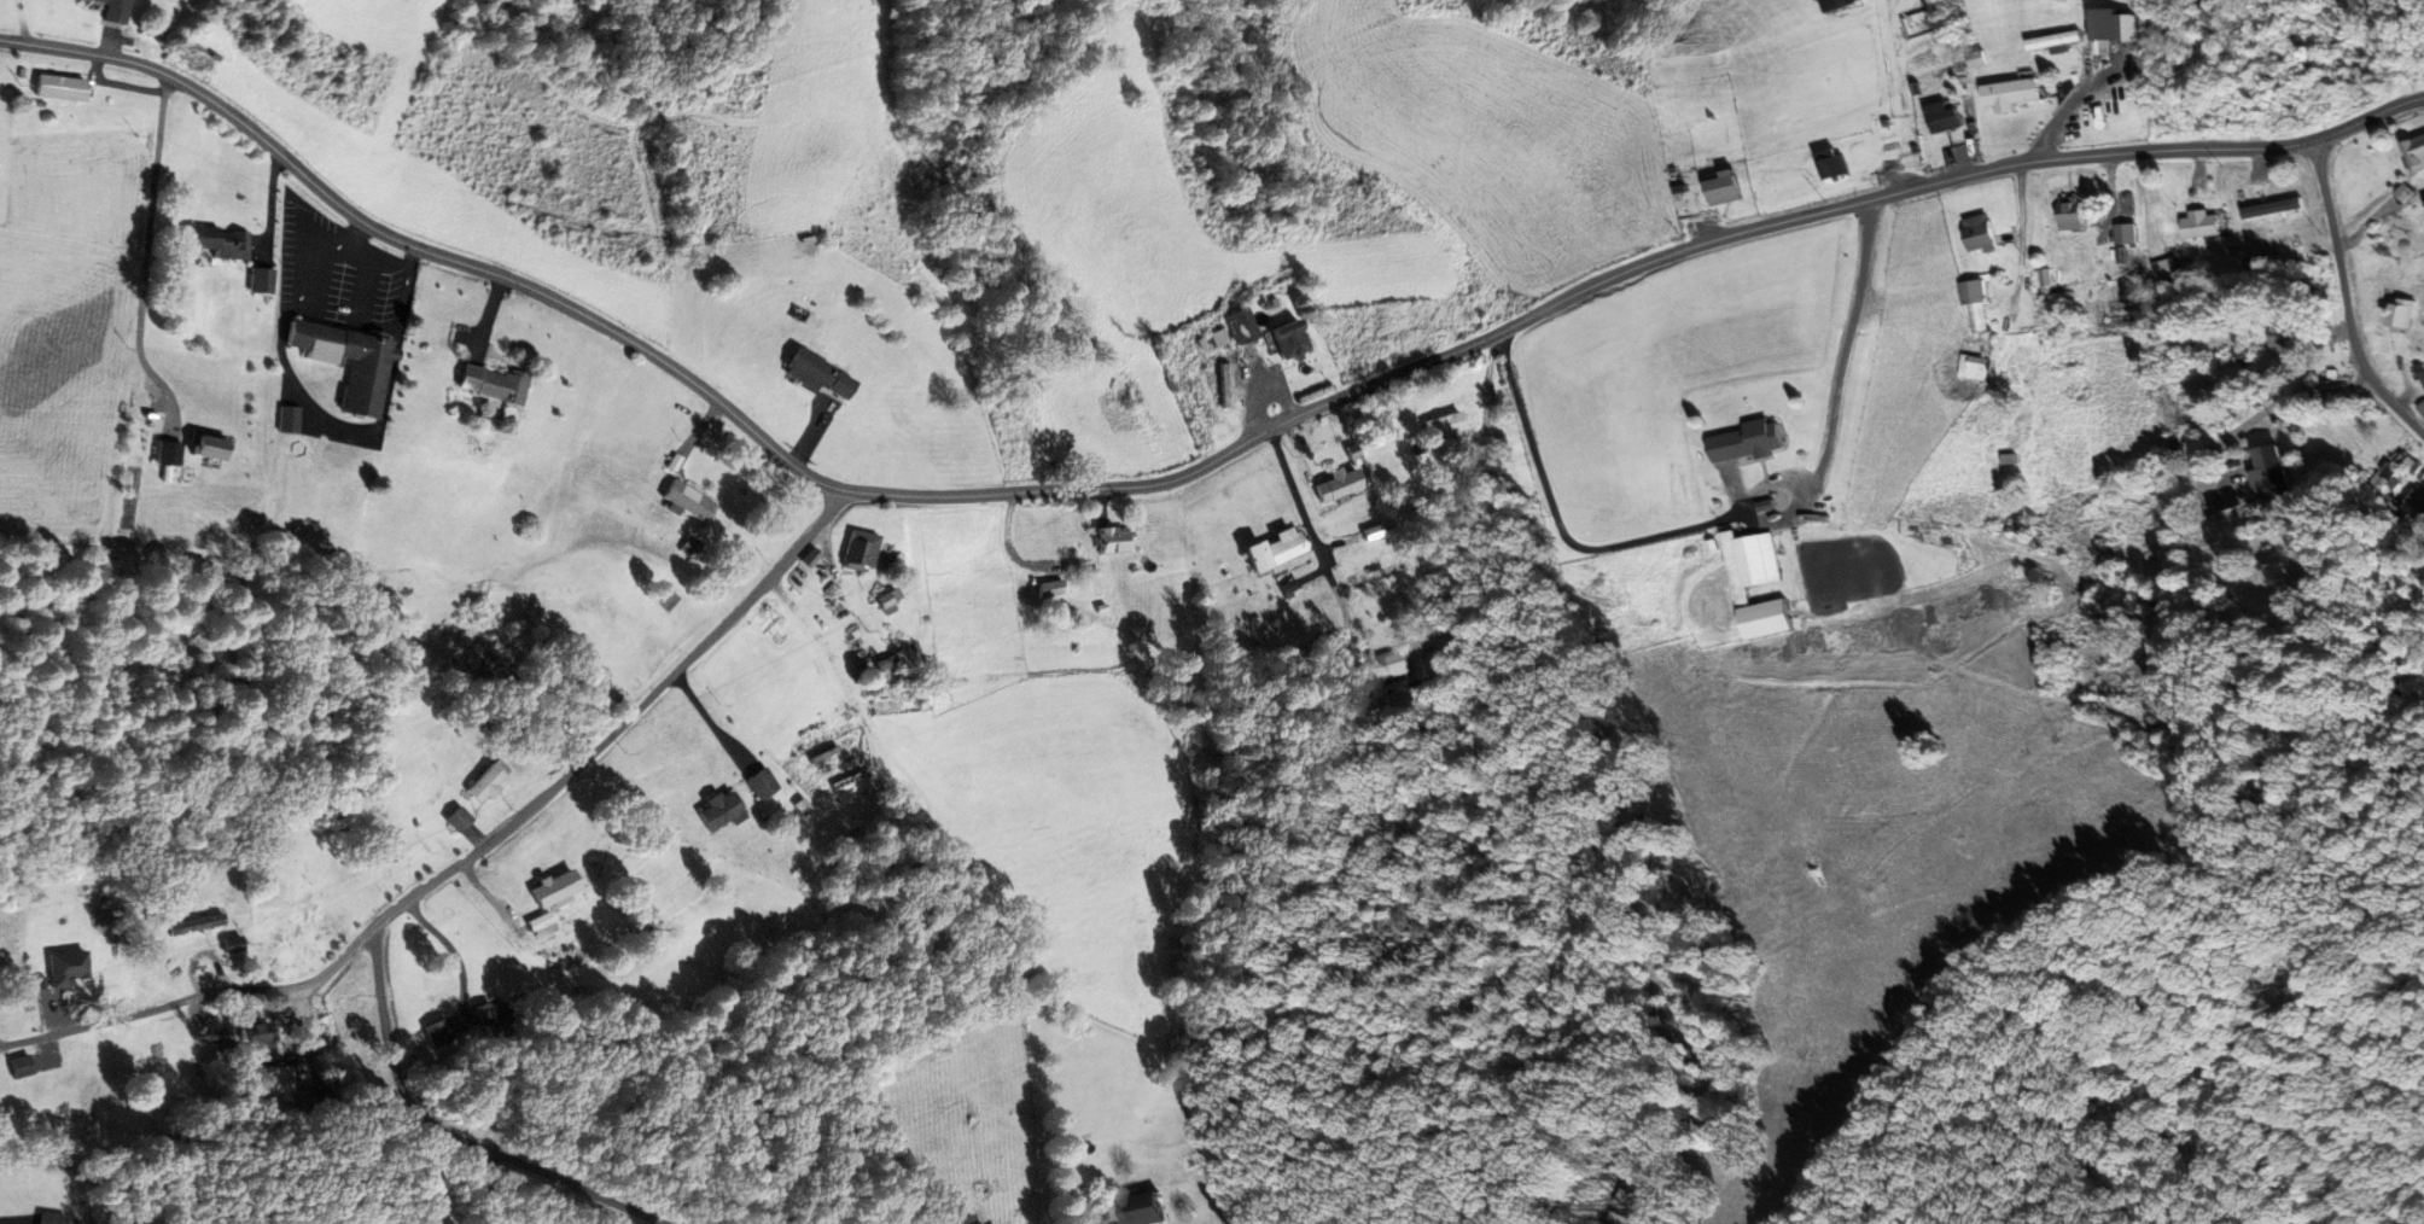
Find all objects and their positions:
building: (1837, 4)
building: (109, 11)
building: (2111, 25)
road: (91, 27)
building: (52, 88)
building: (2010, 94)
building: (1942, 118)
building: (2414, 152)
building: (1831, 164)
building: (1724, 190)
building: (2423, 198)
building: (2068, 214)
building: (2199, 225)
building: (1979, 234)
building: (218, 241)
road: (2346, 302)
building: (1974, 307)
building: (2400, 313)
building: (806, 321)
building: (1237, 326)
building: (1216, 338)
building: (1287, 340)
building: (2285, 343)
building: (349, 362)
building: (1971, 367)
building: (815, 375)
building: (486, 385)
building: (1387, 418)
building: (1443, 426)
building: (1748, 442)
building: (202, 448)
building: (164, 454)
building: (2268, 472)
building: (2396, 474)
road: (1182, 477)
building: (1338, 485)
building: (686, 500)
building: (2416, 505)
road: (1311, 529)
building: (1112, 540)
building: (857, 550)
building: (1272, 550)
building: (1380, 571)
building: (1755, 584)
building: (884, 605)
road: (623, 729)
building: (484, 783)
building: (761, 783)
building: (717, 811)
building: (455, 818)
building: (553, 888)
building: (540, 925)
building: (228, 946)
building: (63, 967)
road: (196, 999)
building: (491, 1016)
building: (438, 1032)
building: (58, 1102)
road: (439, 1133)
building: (1142, 1208)
building: (56, 1219)
building: (962, 1219)

